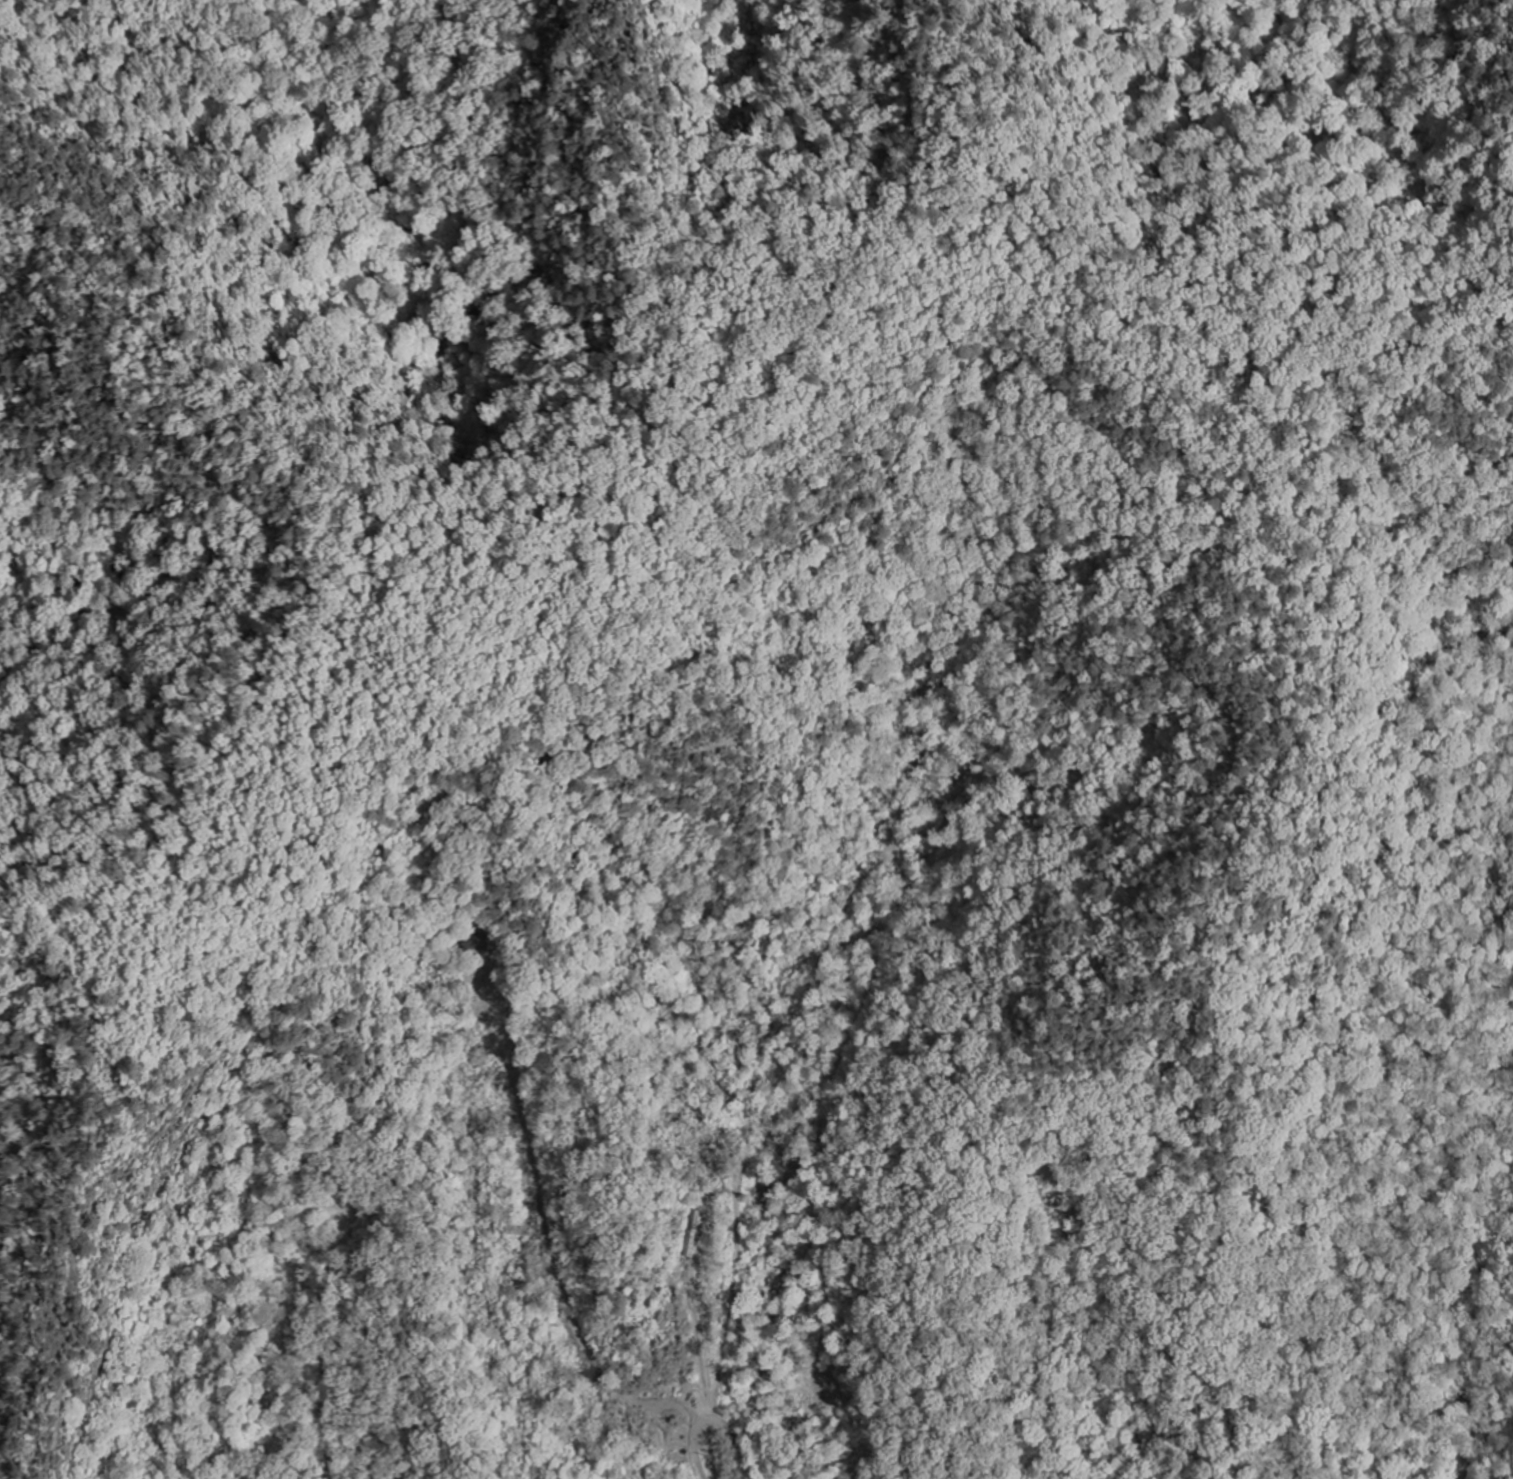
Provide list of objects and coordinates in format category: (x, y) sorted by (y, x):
road: (565, 137)
road: (987, 171)
road: (597, 172)
road: (859, 327)
road: (294, 441)
road: (1282, 709)
road: (167, 946)
road: (716, 1422)

